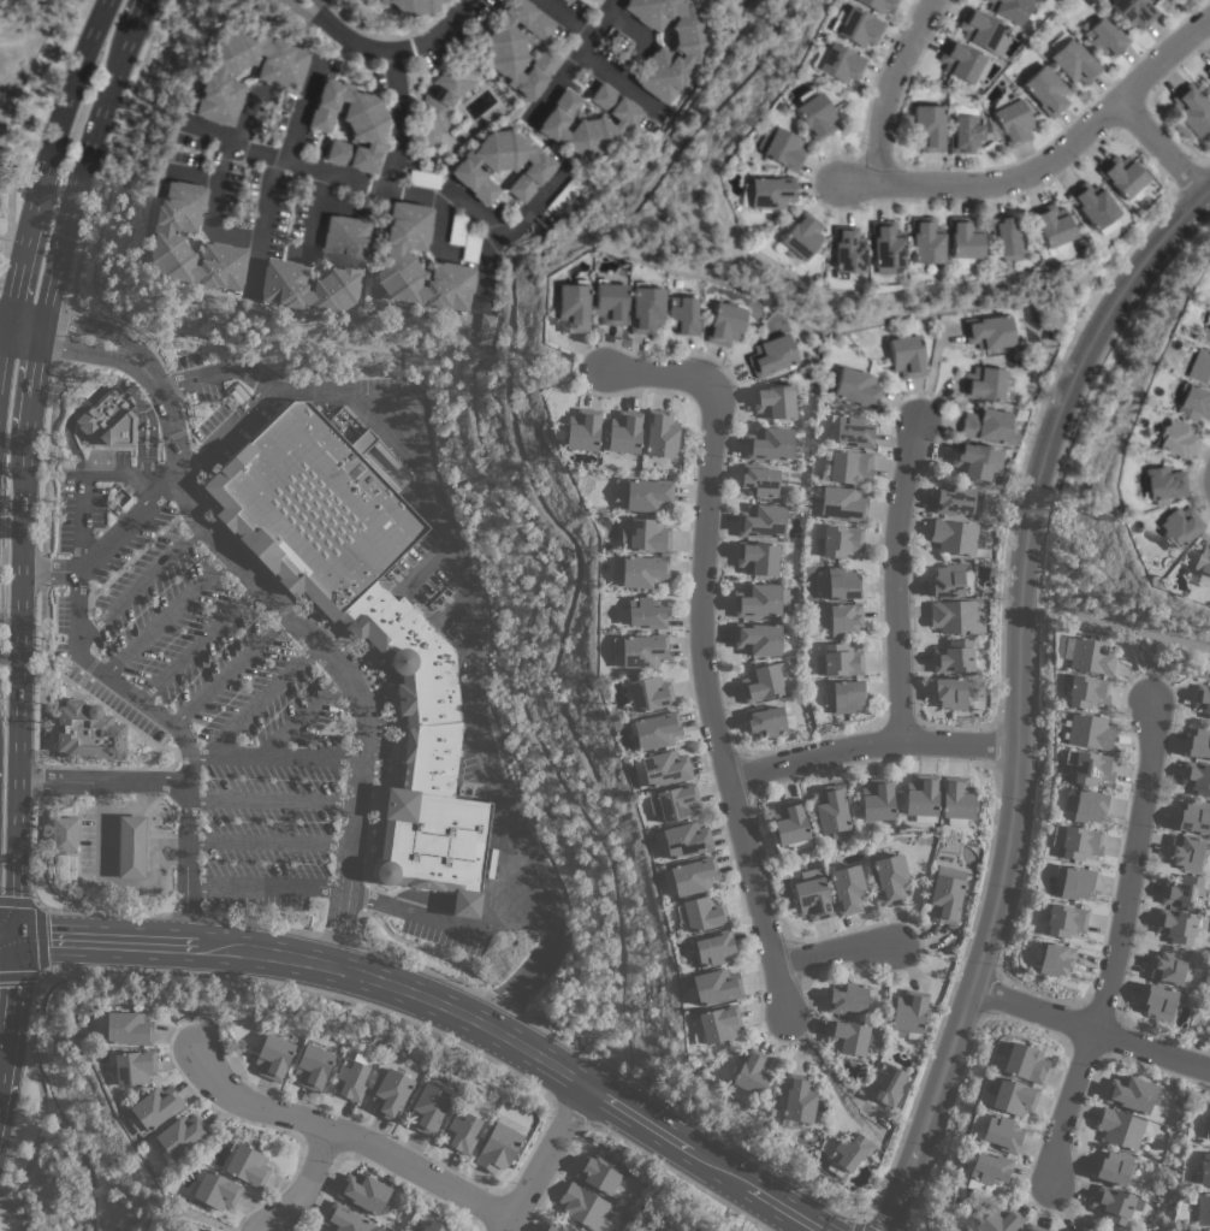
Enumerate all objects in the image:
building: (704, 0)
building: (565, 1)
building: (877, 5)
building: (409, 6)
road: (322, 11)
building: (1009, 11)
building: (1132, 12)
road: (304, 13)
road: (564, 17)
building: (856, 28)
building: (980, 30)
building: (1103, 37)
road: (402, 48)
building: (517, 48)
building: (693, 53)
road: (571, 55)
building: (959, 61)
building: (1074, 63)
building: (840, 64)
building: (1208, 71)
building: (278, 77)
road: (618, 82)
road: (897, 82)
building: (1208, 83)
building: (1045, 91)
building: (441, 101)
road: (65, 105)
building: (1190, 111)
building: (813, 114)
road: (243, 116)
road: (397, 120)
road: (20, 122)
building: (587, 123)
building: (1012, 123)
building: (348, 125)
building: (927, 129)
building: (965, 135)
building: (782, 150)
road: (1162, 150)
road: (1050, 164)
building: (500, 166)
road: (269, 173)
road: (192, 176)
building: (1121, 178)
building: (423, 179)
road: (345, 180)
building: (570, 191)
building: (770, 194)
building: (1092, 208)
road: (213, 209)
road: (313, 211)
road: (509, 229)
building: (1051, 229)
road: (439, 230)
building: (456, 230)
building: (800, 236)
building: (168, 237)
building: (963, 238)
building: (1007, 238)
building: (924, 241)
building: (469, 247)
building: (884, 247)
building: (846, 253)
building: (392, 256)
building: (283, 265)
road: (17, 268)
building: (609, 303)
building: (571, 307)
building: (645, 309)
building: (682, 315)
building: (1206, 319)
road: (2, 322)
building: (724, 324)
road: (24, 326)
building: (486, 329)
road: (103, 330)
building: (987, 332)
building: (1208, 332)
road: (2, 343)
building: (1209, 343)
road: (93, 353)
building: (770, 356)
building: (906, 356)
building: (1199, 368)
building: (983, 384)
road: (109, 386)
road: (265, 389)
building: (855, 389)
building: (238, 392)
building: (773, 401)
parking lot: (223, 402)
building: (1192, 403)
building: (109, 420)
building: (984, 426)
building: (850, 428)
building: (582, 430)
building: (624, 432)
building: (660, 433)
building: (1175, 439)
building: (770, 443)
building: (386, 455)
road: (24, 458)
building: (975, 461)
building: (849, 466)
road: (82, 477)
building: (759, 480)
building: (1162, 485)
building: (643, 493)
parking lot: (82, 496)
building: (954, 498)
building: (842, 504)
building: (761, 521)
building: (1179, 527)
building: (646, 534)
building: (955, 537)
building: (841, 540)
building: (757, 557)
building: (1203, 560)
road: (48, 570)
building: (643, 570)
building: (948, 581)
building: (842, 582)
road: (894, 582)
road: (138, 584)
building: (760, 599)
building: (642, 612)
road: (166, 614)
building: (955, 616)
building: (841, 619)
building: (364, 623)
road: (1114, 625)
building: (757, 638)
road: (198, 641)
road: (319, 649)
building: (640, 650)
building: (1091, 656)
road: (701, 657)
building: (954, 657)
building: (838, 661)
road: (1150, 664)
road: (474, 668)
road: (230, 669)
road: (100, 670)
building: (761, 682)
road: (1016, 691)
building: (1086, 691)
building: (950, 692)
building: (650, 693)
building: (847, 696)
building: (1203, 698)
road: (260, 699)
parking lot: (210, 704)
road: (302, 716)
building: (765, 721)
building: (654, 729)
building: (88, 732)
building: (1089, 732)
building: (1199, 742)
road: (870, 745)
road: (274, 757)
building: (1089, 767)
building: (663, 769)
building: (1197, 777)
road: (102, 780)
building: (921, 797)
road: (272, 799)
building: (877, 799)
building: (956, 800)
building: (674, 803)
building: (1086, 806)
building: (832, 811)
building: (1193, 817)
building: (790, 823)
building: (64, 833)
road: (268, 839)
building: (682, 840)
gas station: (113, 842)
building: (1079, 842)
building: (131, 847)
building: (1186, 851)
building: (491, 863)
road: (100, 875)
building: (690, 876)
building: (890, 878)
building: (1075, 881)
road: (266, 884)
building: (848, 888)
building: (1182, 892)
building: (812, 895)
building: (945, 899)
building: (701, 912)
road: (186, 913)
building: (1064, 919)
road: (451, 925)
building: (1176, 925)
road: (6, 935)
traffic signals: (12, 936)
road: (38, 939)
road: (99, 940)
road: (1113, 940)
building: (713, 947)
road: (832, 954)
building: (1055, 959)
building: (1169, 966)
building: (716, 986)
road: (308, 989)
building: (847, 998)
building: (1161, 1001)
road: (7, 1002)
road: (32, 1005)
building: (909, 1011)
building: (718, 1023)
building: (127, 1028)
road: (1091, 1034)
building: (847, 1036)
road: (521, 1047)
building: (273, 1057)
road: (820, 1063)
building: (1025, 1063)
building: (134, 1066)
building: (312, 1066)
building: (753, 1072)
building: (350, 1078)
building: (886, 1083)
building: (1131, 1093)
building: (390, 1094)
building: (1013, 1096)
building: (797, 1100)
building: (154, 1108)
building: (428, 1108)
building: (1120, 1128)
building: (462, 1131)
building: (1206, 1132)
road: (344, 1134)
building: (1001, 1134)
building: (180, 1136)
road: (36, 1137)
building: (498, 1147)
building: (848, 1154)
road: (544, 1158)
building: (247, 1165)
building: (1114, 1167)
building: (1204, 1168)
building: (987, 1171)
building: (599, 1172)
road: (301, 1183)
building: (217, 1190)
building: (363, 1191)
road: (7, 1205)
building: (1114, 1205)
building: (583, 1206)
building: (1203, 1209)
road: (185, 1213)
building: (343, 1219)
building: (997, 1219)
road: (867, 1223)
building: (434, 1226)
building: (558, 1227)
building: (1033, 1227)
building: (1086, 1227)
building: (1199, 1230)

